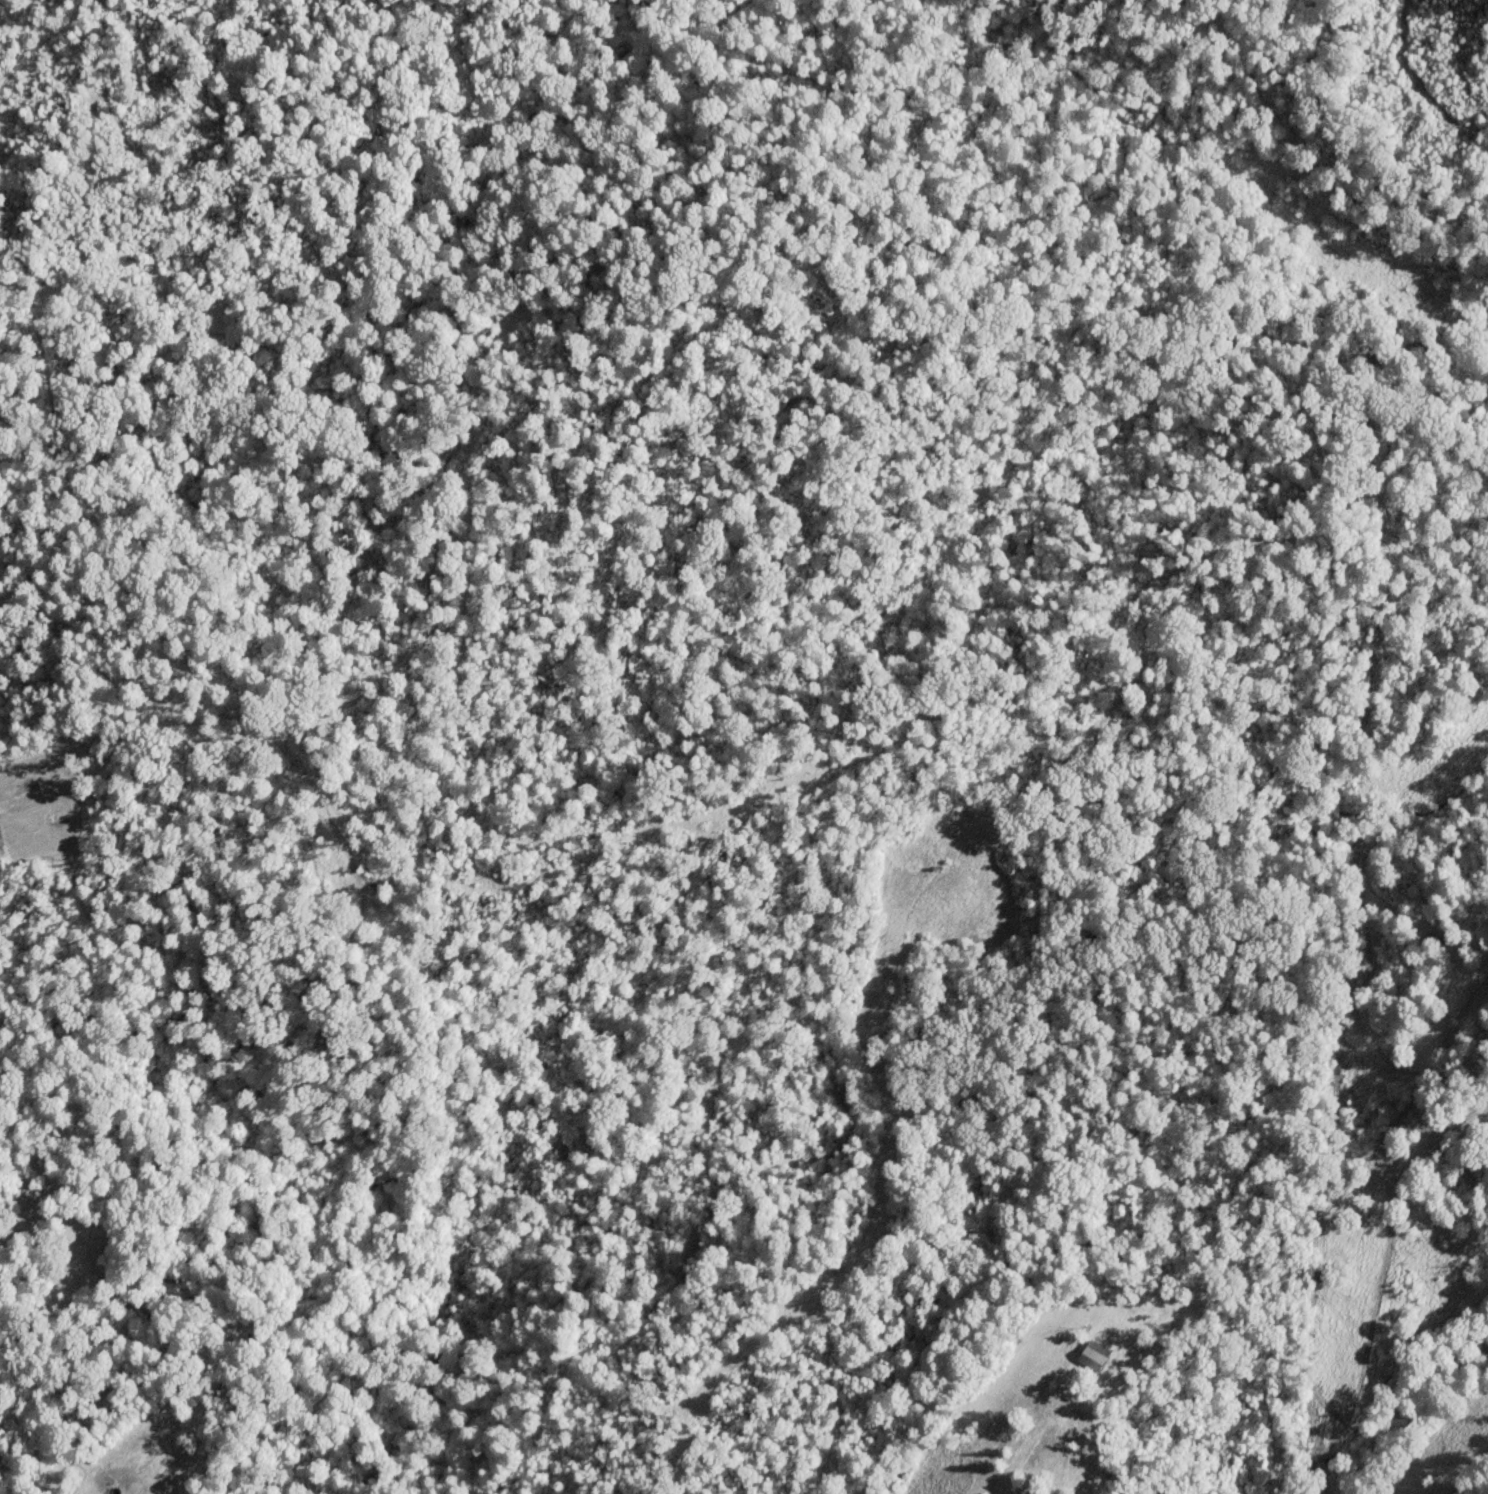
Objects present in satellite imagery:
building: (1091, 1354)
road: (1020, 1432)

